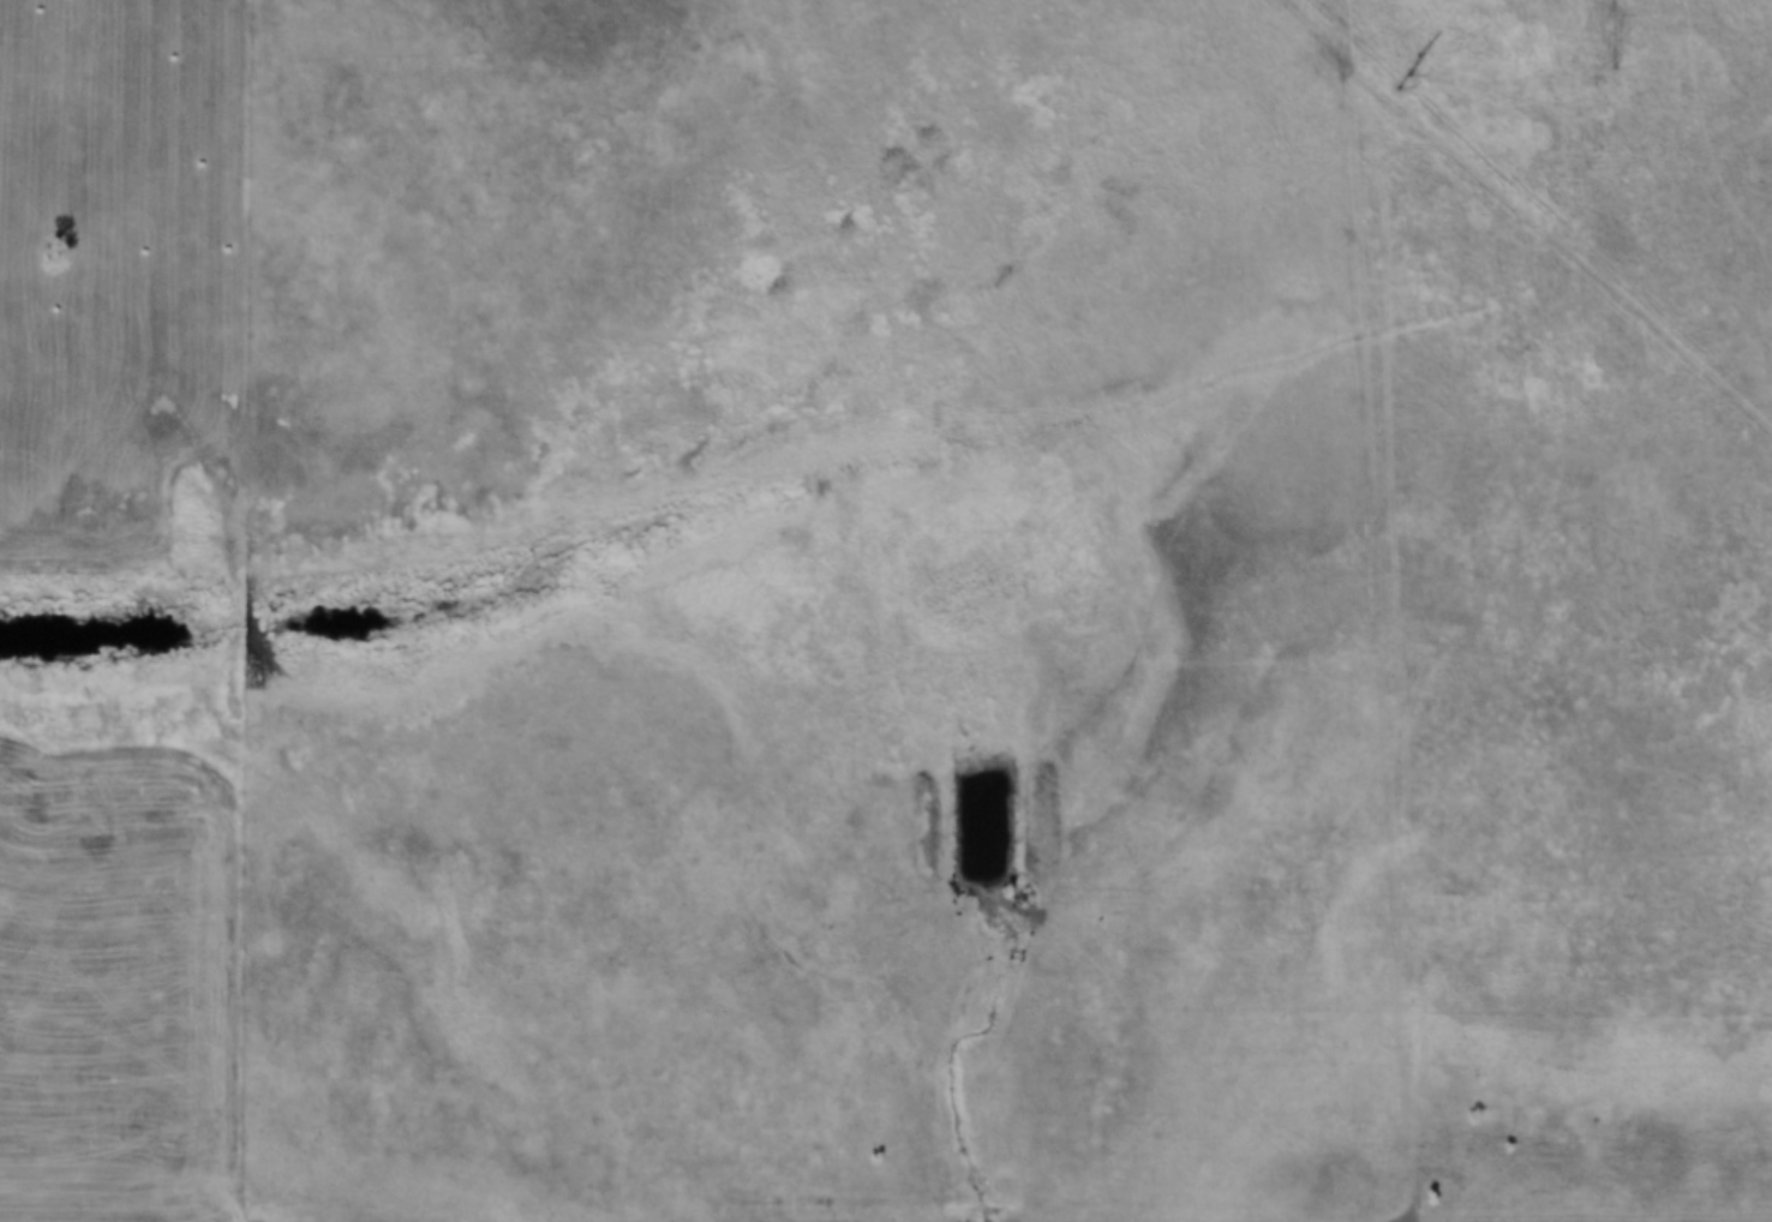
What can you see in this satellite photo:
power tower: (1412, 77)

